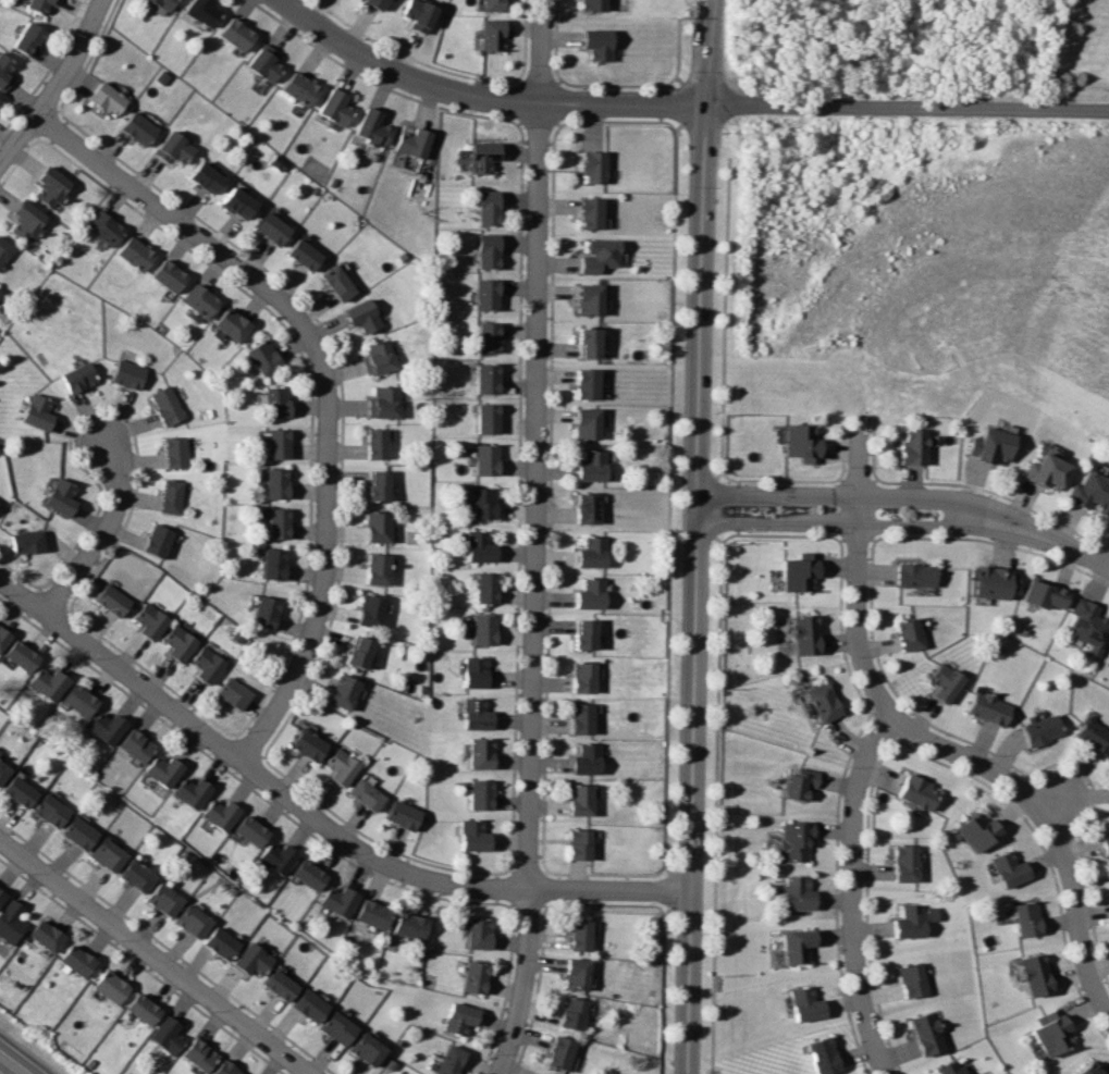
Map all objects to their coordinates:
building: (167, 2)
building: (368, 2)
building: (489, 3)
building: (42, 5)
building: (590, 5)
building: (206, 11)
building: (412, 12)
building: (489, 32)
building: (237, 33)
building: (30, 37)
road: (522, 39)
road: (554, 40)
building: (594, 45)
road: (674, 47)
road: (407, 58)
building: (266, 63)
building: (7, 69)
road: (535, 82)
road: (617, 85)
building: (300, 87)
road: (61, 89)
road: (482, 97)
building: (110, 98)
road: (555, 99)
road: (680, 102)
road: (522, 103)
road: (905, 104)
building: (336, 106)
road: (541, 120)
road: (616, 122)
building: (373, 124)
building: (140, 127)
building: (414, 140)
building: (175, 147)
building: (486, 155)
building: (595, 166)
building: (208, 176)
building: (53, 185)
building: (239, 201)
building: (491, 208)
building: (592, 213)
building: (27, 220)
building: (107, 227)
building: (273, 227)
road: (210, 242)
building: (4, 249)
building: (491, 251)
building: (136, 252)
building: (305, 254)
building: (600, 256)
building: (170, 274)
building: (340, 282)
building: (0, 291)
building: (490, 294)
building: (201, 299)
building: (591, 299)
building: (363, 316)
building: (233, 324)
building: (491, 336)
building: (590, 342)
building: (264, 356)
building: (379, 356)
building: (128, 372)
building: (79, 376)
building: (488, 378)
building: (589, 383)
building: (279, 400)
building: (384, 402)
building: (168, 405)
building: (39, 411)
building: (489, 418)
building: (589, 422)
building: (797, 442)
building: (280, 443)
building: (379, 443)
building: (988, 445)
building: (905, 446)
building: (176, 452)
building: (488, 458)
building: (592, 465)
building: (1043, 471)
building: (278, 483)
building: (380, 484)
building: (1088, 493)
building: (171, 495)
building: (62, 496)
building: (484, 502)
building: (587, 507)
road: (908, 511)
building: (280, 522)
building: (379, 526)
road: (107, 532)
road: (697, 536)
road: (535, 539)
building: (159, 540)
building: (30, 541)
building: (480, 546)
building: (591, 552)
building: (275, 563)
building: (378, 568)
road: (857, 572)
building: (793, 575)
building: (909, 575)
building: (985, 583)
building: (486, 588)
road: (325, 592)
building: (591, 593)
building: (1038, 596)
building: (112, 598)
building: (370, 609)
building: (267, 612)
building: (150, 620)
building: (1084, 627)
building: (485, 629)
building: (586, 634)
building: (798, 634)
building: (903, 634)
building: (4, 637)
building: (178, 642)
building: (360, 651)
building: (24, 655)
building: (208, 664)
building: (478, 671)
building: (583, 677)
building: (50, 682)
building: (939, 682)
building: (345, 690)
building: (235, 692)
building: (81, 700)
building: (816, 702)
building: (982, 709)
building: (477, 714)
building: (582, 718)
building: (109, 725)
building: (1035, 730)
building: (1092, 736)
building: (137, 744)
building: (310, 744)
building: (482, 753)
building: (588, 758)
building: (343, 766)
building: (164, 769)
building: (4, 770)
building: (793, 782)
building: (22, 791)
building: (193, 791)
building: (911, 792)
building: (482, 793)
building: (368, 794)
building: (581, 799)
road: (1061, 799)
building: (52, 811)
building: (222, 813)
road: (311, 814)
building: (405, 814)
road: (1052, 824)
building: (971, 829)
building: (252, 830)
building: (81, 832)
building: (476, 836)
building: (790, 842)
building: (581, 843)
building: (1101, 843)
building: (109, 854)
building: (279, 856)
building: (898, 863)
building: (1002, 868)
building: (310, 874)
building: (138, 875)
building: (790, 893)
road: (853, 894)
building: (2, 896)
building: (164, 899)
building: (337, 899)
building: (373, 913)
building: (1021, 918)
building: (194, 919)
building: (12, 921)
building: (903, 922)
building: (411, 925)
building: (480, 933)
building: (47, 935)
building: (580, 935)
building: (221, 942)
building: (790, 946)
road: (155, 956)
building: (77, 960)
building: (252, 960)
building: (577, 974)
building: (475, 976)
building: (1028, 976)
building: (905, 980)
building: (281, 985)
building: (111, 986)
building: (310, 1004)
building: (800, 1004)
building: (144, 1008)
building: (571, 1013)
building: (459, 1017)
building: (338, 1028)
building: (168, 1033)
building: (919, 1034)
building: (1047, 1036)
building: (367, 1049)
building: (560, 1052)
building: (199, 1053)
building: (817, 1057)
building: (451, 1060)
road: (10, 1065)
building: (225, 1069)
building: (946, 1069)
building: (1082, 1069)
building: (540, 1073)
building: (542, 1073)

